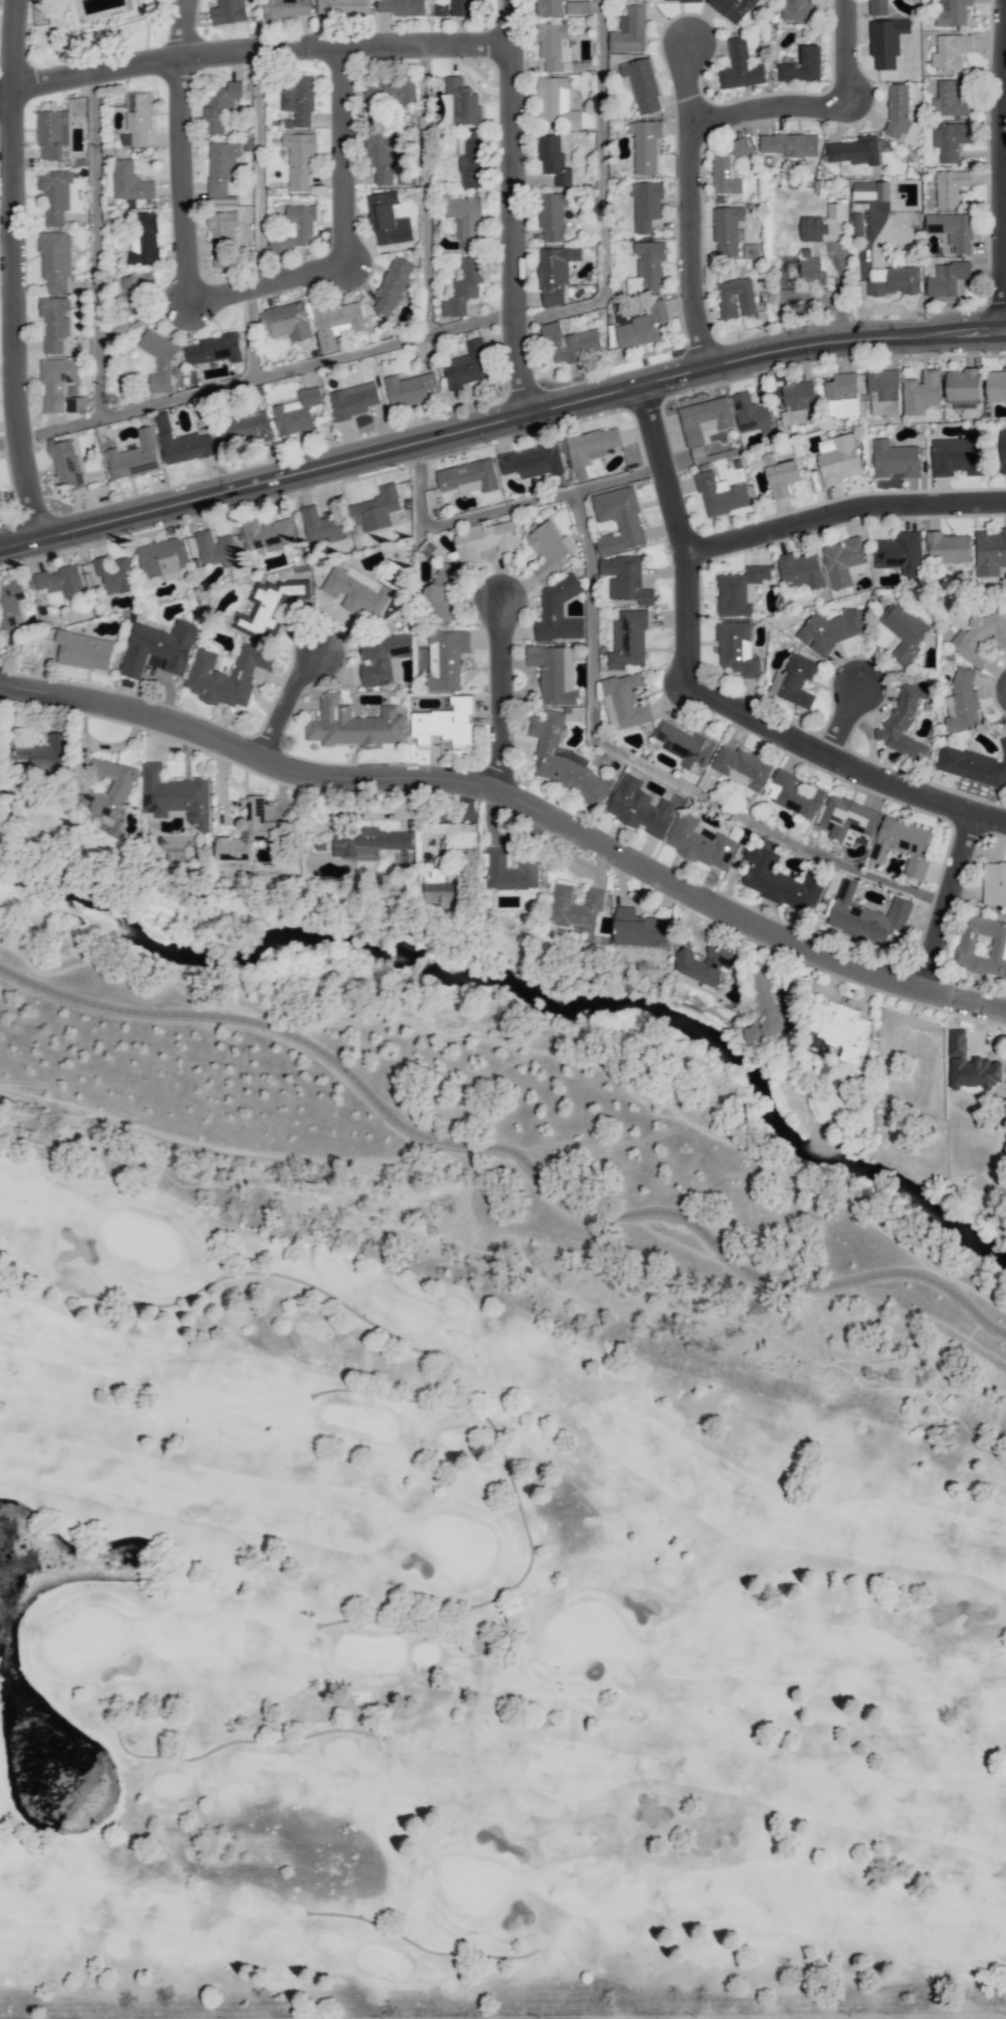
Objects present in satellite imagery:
road: (1, 0)
building: (680, 0)
building: (343, 7)
building: (402, 7)
building: (460, 7)
building: (549, 7)
building: (578, 7)
building: (878, 7)
building: (287, 8)
building: (732, 8)
building: (441, 9)
building: (797, 10)
building: (228, 12)
building: (952, 12)
building: (630, 30)
building: (887, 42)
building: (553, 45)
road: (253, 50)
building: (950, 50)
building: (803, 66)
building: (740, 67)
building: (643, 84)
building: (389, 91)
building: (949, 98)
building: (297, 100)
building: (460, 103)
building: (560, 105)
building: (220, 106)
road: (820, 107)
building: (898, 109)
building: (138, 119)
road: (1005, 122)
building: (52, 133)
building: (951, 140)
building: (645, 144)
building: (790, 144)
building: (853, 150)
road: (180, 151)
building: (381, 155)
building: (470, 158)
building: (299, 159)
building: (553, 159)
building: (222, 165)
road: (260, 167)
building: (729, 168)
building: (130, 182)
building: (950, 187)
road: (426, 190)
building: (870, 190)
building: (55, 195)
road: (605, 196)
building: (225, 200)
road: (685, 204)
building: (646, 205)
road: (510, 206)
building: (837, 210)
building: (552, 215)
building: (388, 219)
building: (465, 220)
building: (857, 224)
building: (297, 228)
road: (343, 228)
building: (812, 228)
building: (953, 229)
building: (727, 230)
building: (222, 237)
building: (144, 239)
road: (95, 245)
building: (55, 260)
building: (647, 267)
road: (10, 268)
building: (811, 268)
building: (555, 272)
building: (947, 278)
building: (894, 280)
building: (393, 284)
building: (464, 287)
building: (736, 298)
building: (135, 299)
building: (286, 320)
building: (54, 322)
building: (336, 322)
building: (642, 326)
road: (249, 333)
building: (571, 343)
building: (215, 349)
building: (159, 359)
building: (467, 365)
road: (263, 375)
building: (57, 382)
building: (883, 382)
building: (996, 385)
building: (963, 388)
building: (410, 389)
building: (921, 392)
building: (841, 396)
building: (354, 399)
building: (798, 403)
building: (297, 412)
building: (752, 414)
road: (499, 418)
building: (704, 418)
building: (245, 428)
road: (8, 440)
building: (182, 442)
building: (591, 445)
building: (1003, 450)
building: (957, 455)
building: (134, 456)
building: (837, 458)
building: (895, 459)
building: (532, 461)
building: (66, 463)
building: (781, 475)
building: (469, 477)
building: (721, 494)
road: (502, 507)
building: (376, 508)
road: (845, 513)
building: (619, 519)
building: (321, 523)
building: (267, 533)
road: (682, 534)
building: (483, 540)
building: (216, 548)
building: (947, 548)
building: (550, 549)
building: (990, 551)
building: (900, 553)
building: (164, 558)
building: (844, 561)
building: (801, 569)
building: (115, 574)
building: (625, 578)
building: (61, 580)
building: (739, 590)
building: (357, 592)
building: (11, 603)
building: (269, 606)
building: (558, 611)
building: (830, 629)
building: (903, 630)
building: (980, 636)
building: (629, 640)
building: (160, 647)
building: (737, 649)
building: (84, 650)
building: (383, 658)
building: (446, 658)
building: (554, 673)
building: (227, 675)
building: (794, 680)
building: (624, 701)
building: (963, 701)
road: (268, 704)
road: (488, 710)
road: (845, 723)
building: (904, 723)
building: (445, 724)
building: (354, 725)
building: (685, 745)
building: (42, 749)
building: (561, 758)
building: (974, 765)
building: (741, 766)
road: (847, 768)
road: (656, 771)
building: (108, 788)
building: (794, 794)
building: (175, 795)
building: (640, 807)
road: (511, 814)
building: (848, 820)
building: (247, 832)
building: (369, 842)
building: (700, 842)
building: (903, 844)
building: (510, 870)
building: (780, 880)
building: (994, 883)
building: (444, 895)
building: (575, 905)
road: (947, 906)
building: (867, 916)
building: (640, 928)
building: (982, 945)
building: (705, 964)
building: (766, 1009)
building: (839, 1027)
building: (971, 1066)
road: (506, 1152)
park: (459, 1673)

